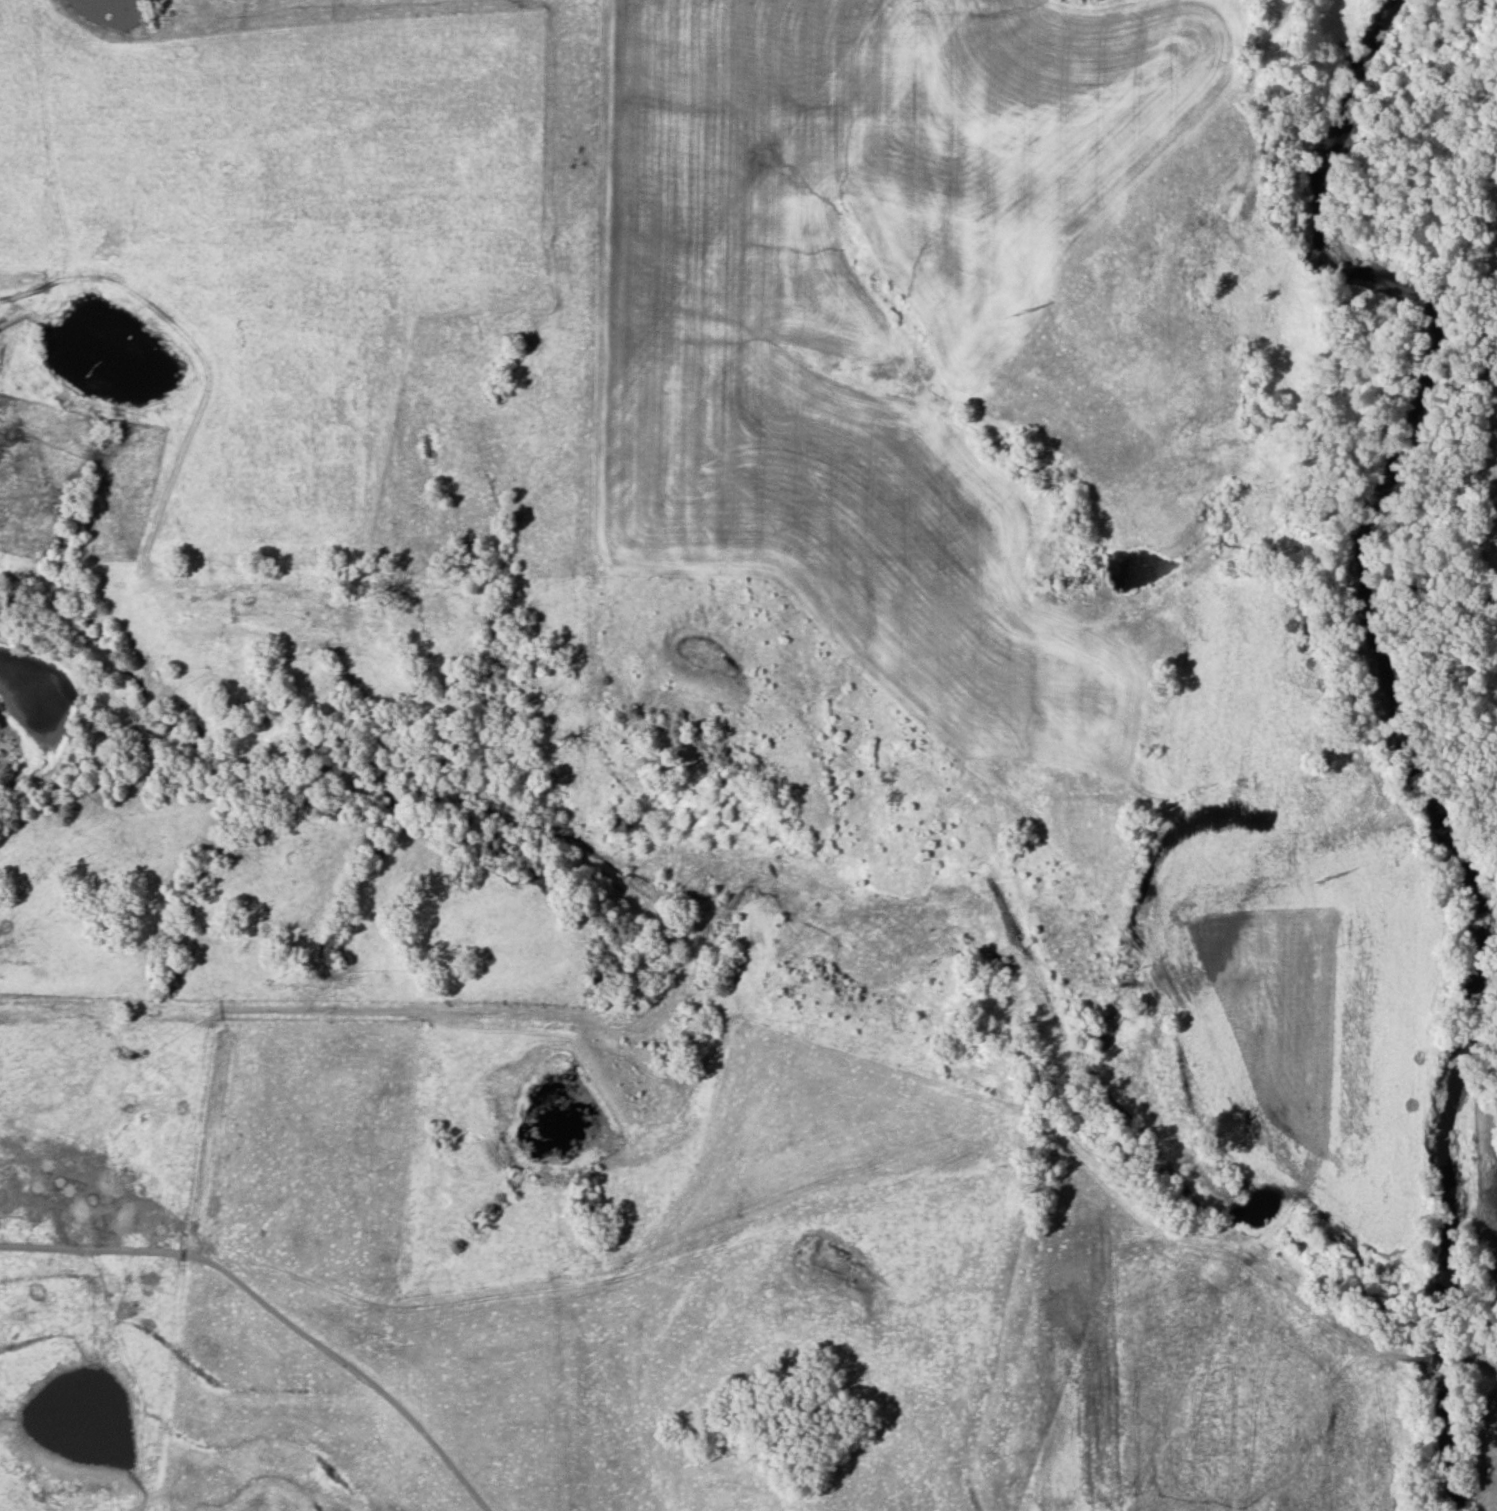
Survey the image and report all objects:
power tower: (1018, 313)
building: (628, 825)
power tower: (1319, 885)
road: (271, 1313)

